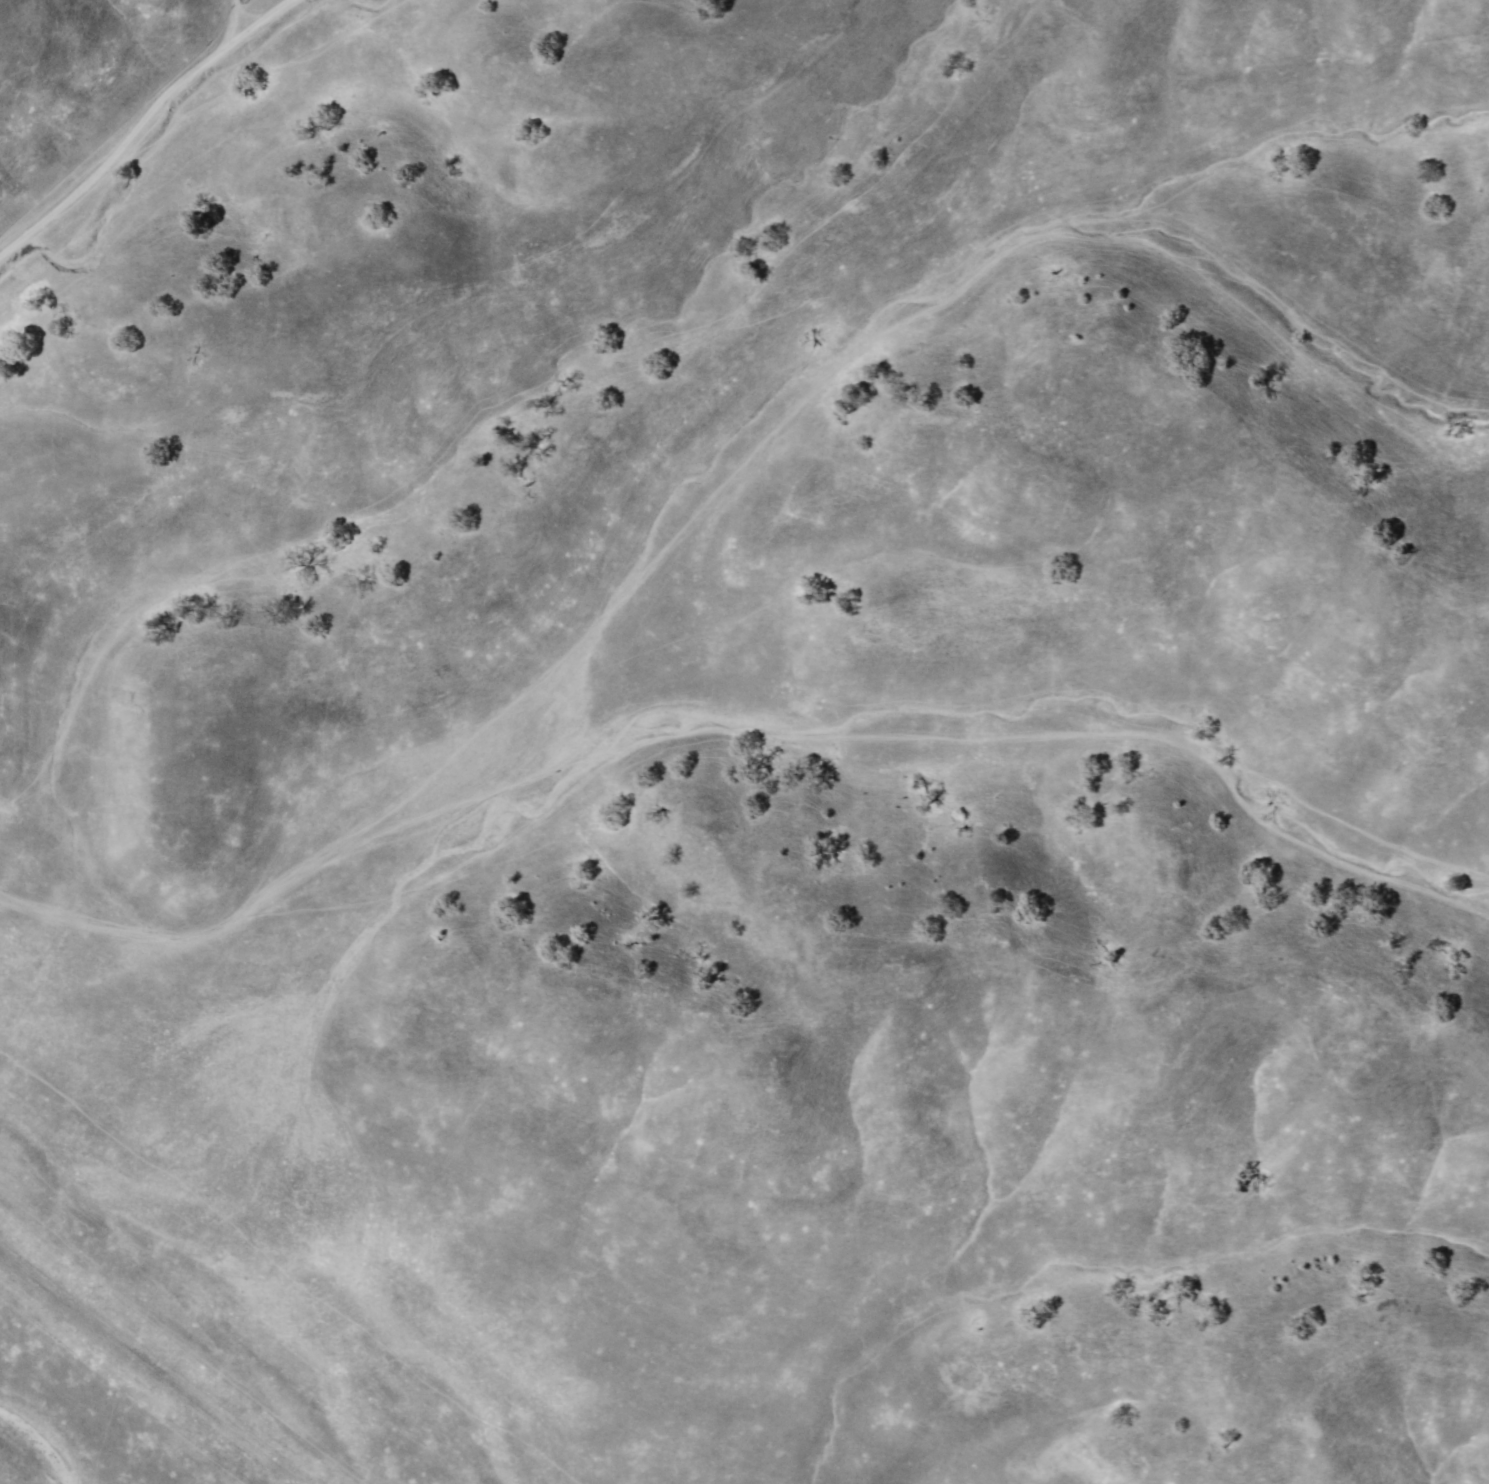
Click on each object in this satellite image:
road: (263, 11)
road: (226, 24)
road: (134, 134)
airport: (146, 1371)
airport runway: (140, 1375)

